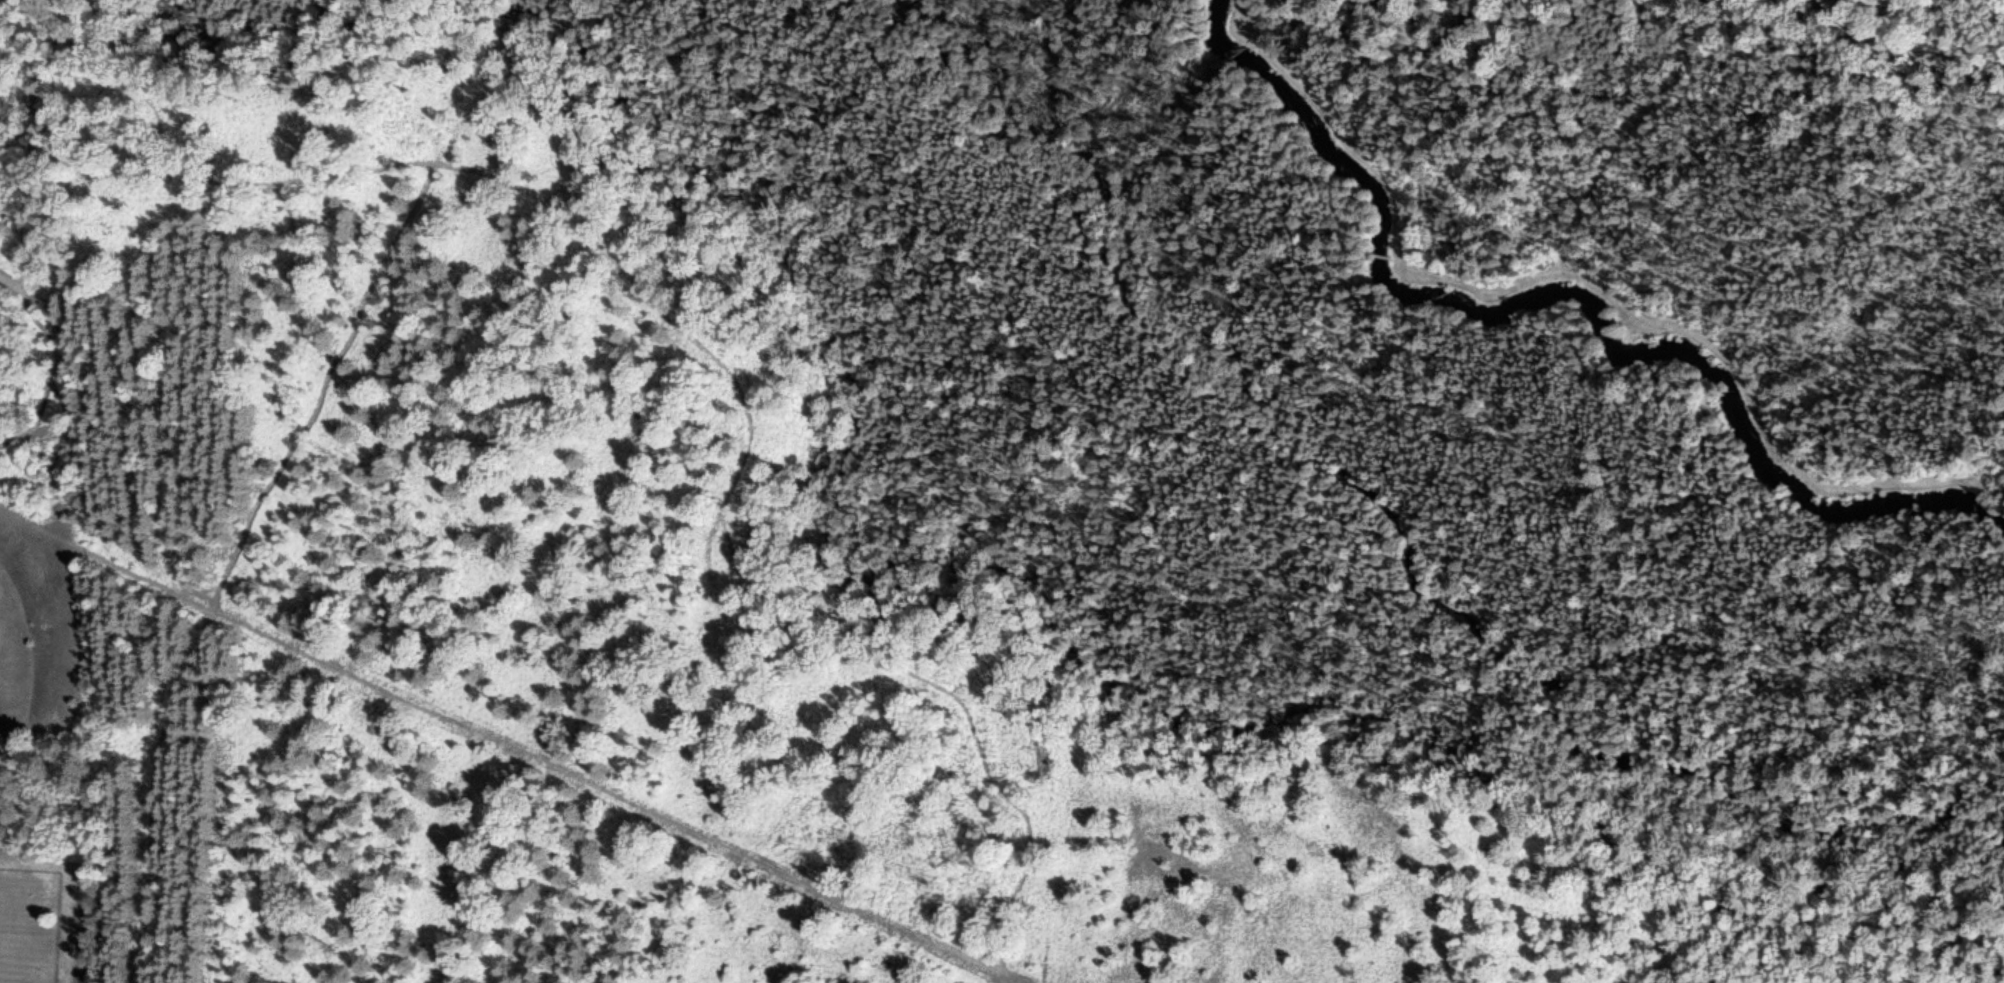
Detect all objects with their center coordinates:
river: (1566, 290)
road: (724, 452)

